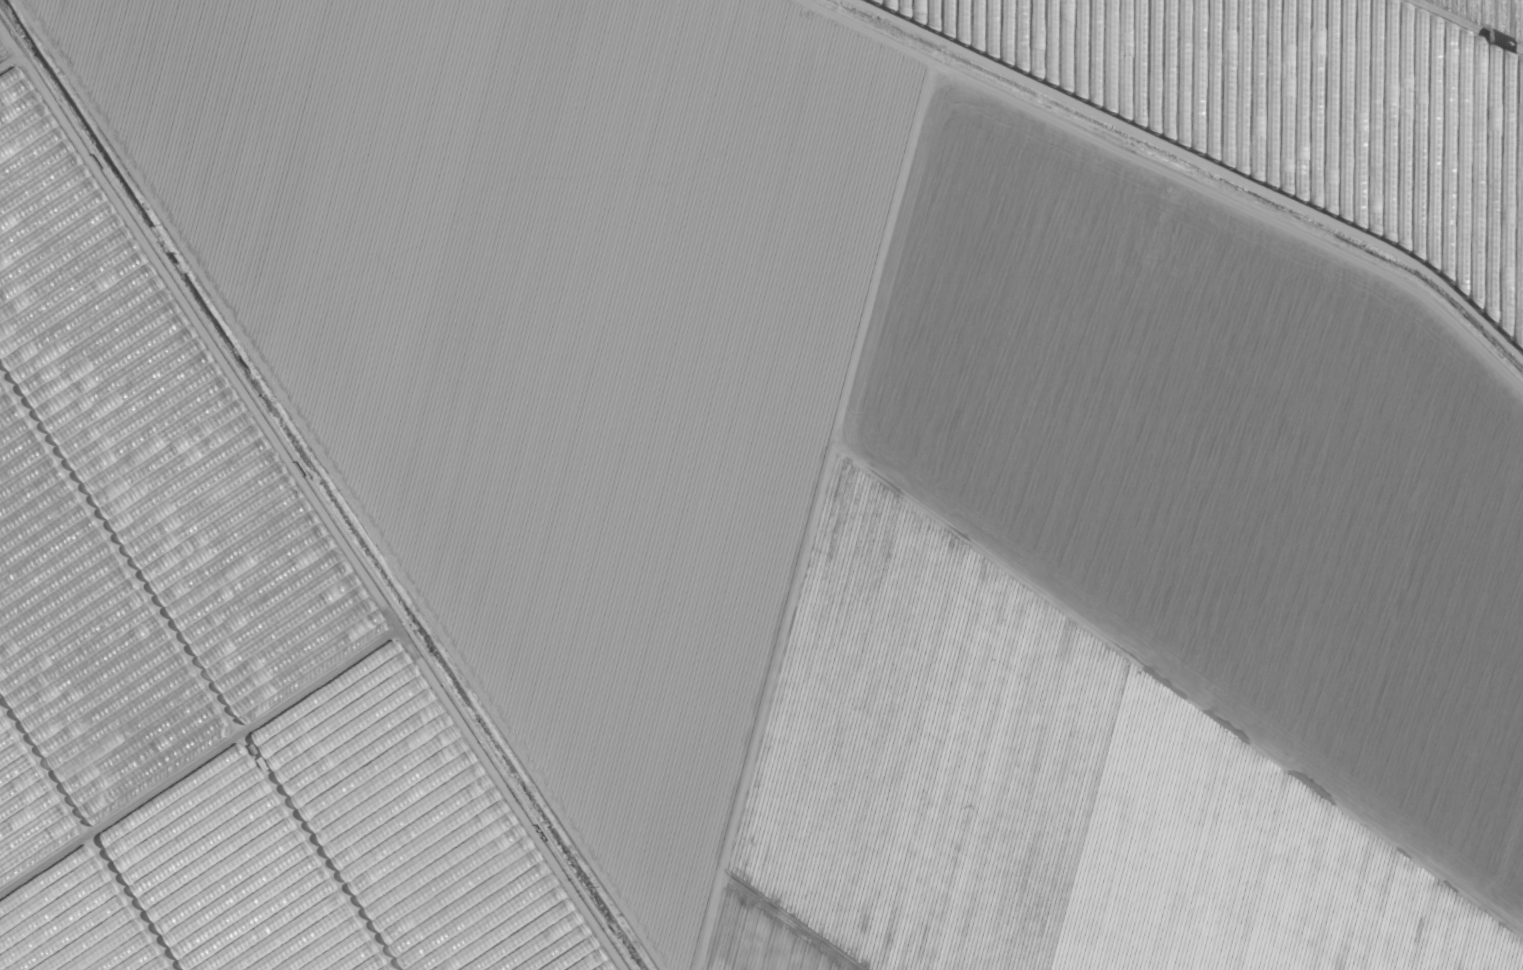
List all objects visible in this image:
crop: (761, 485)

